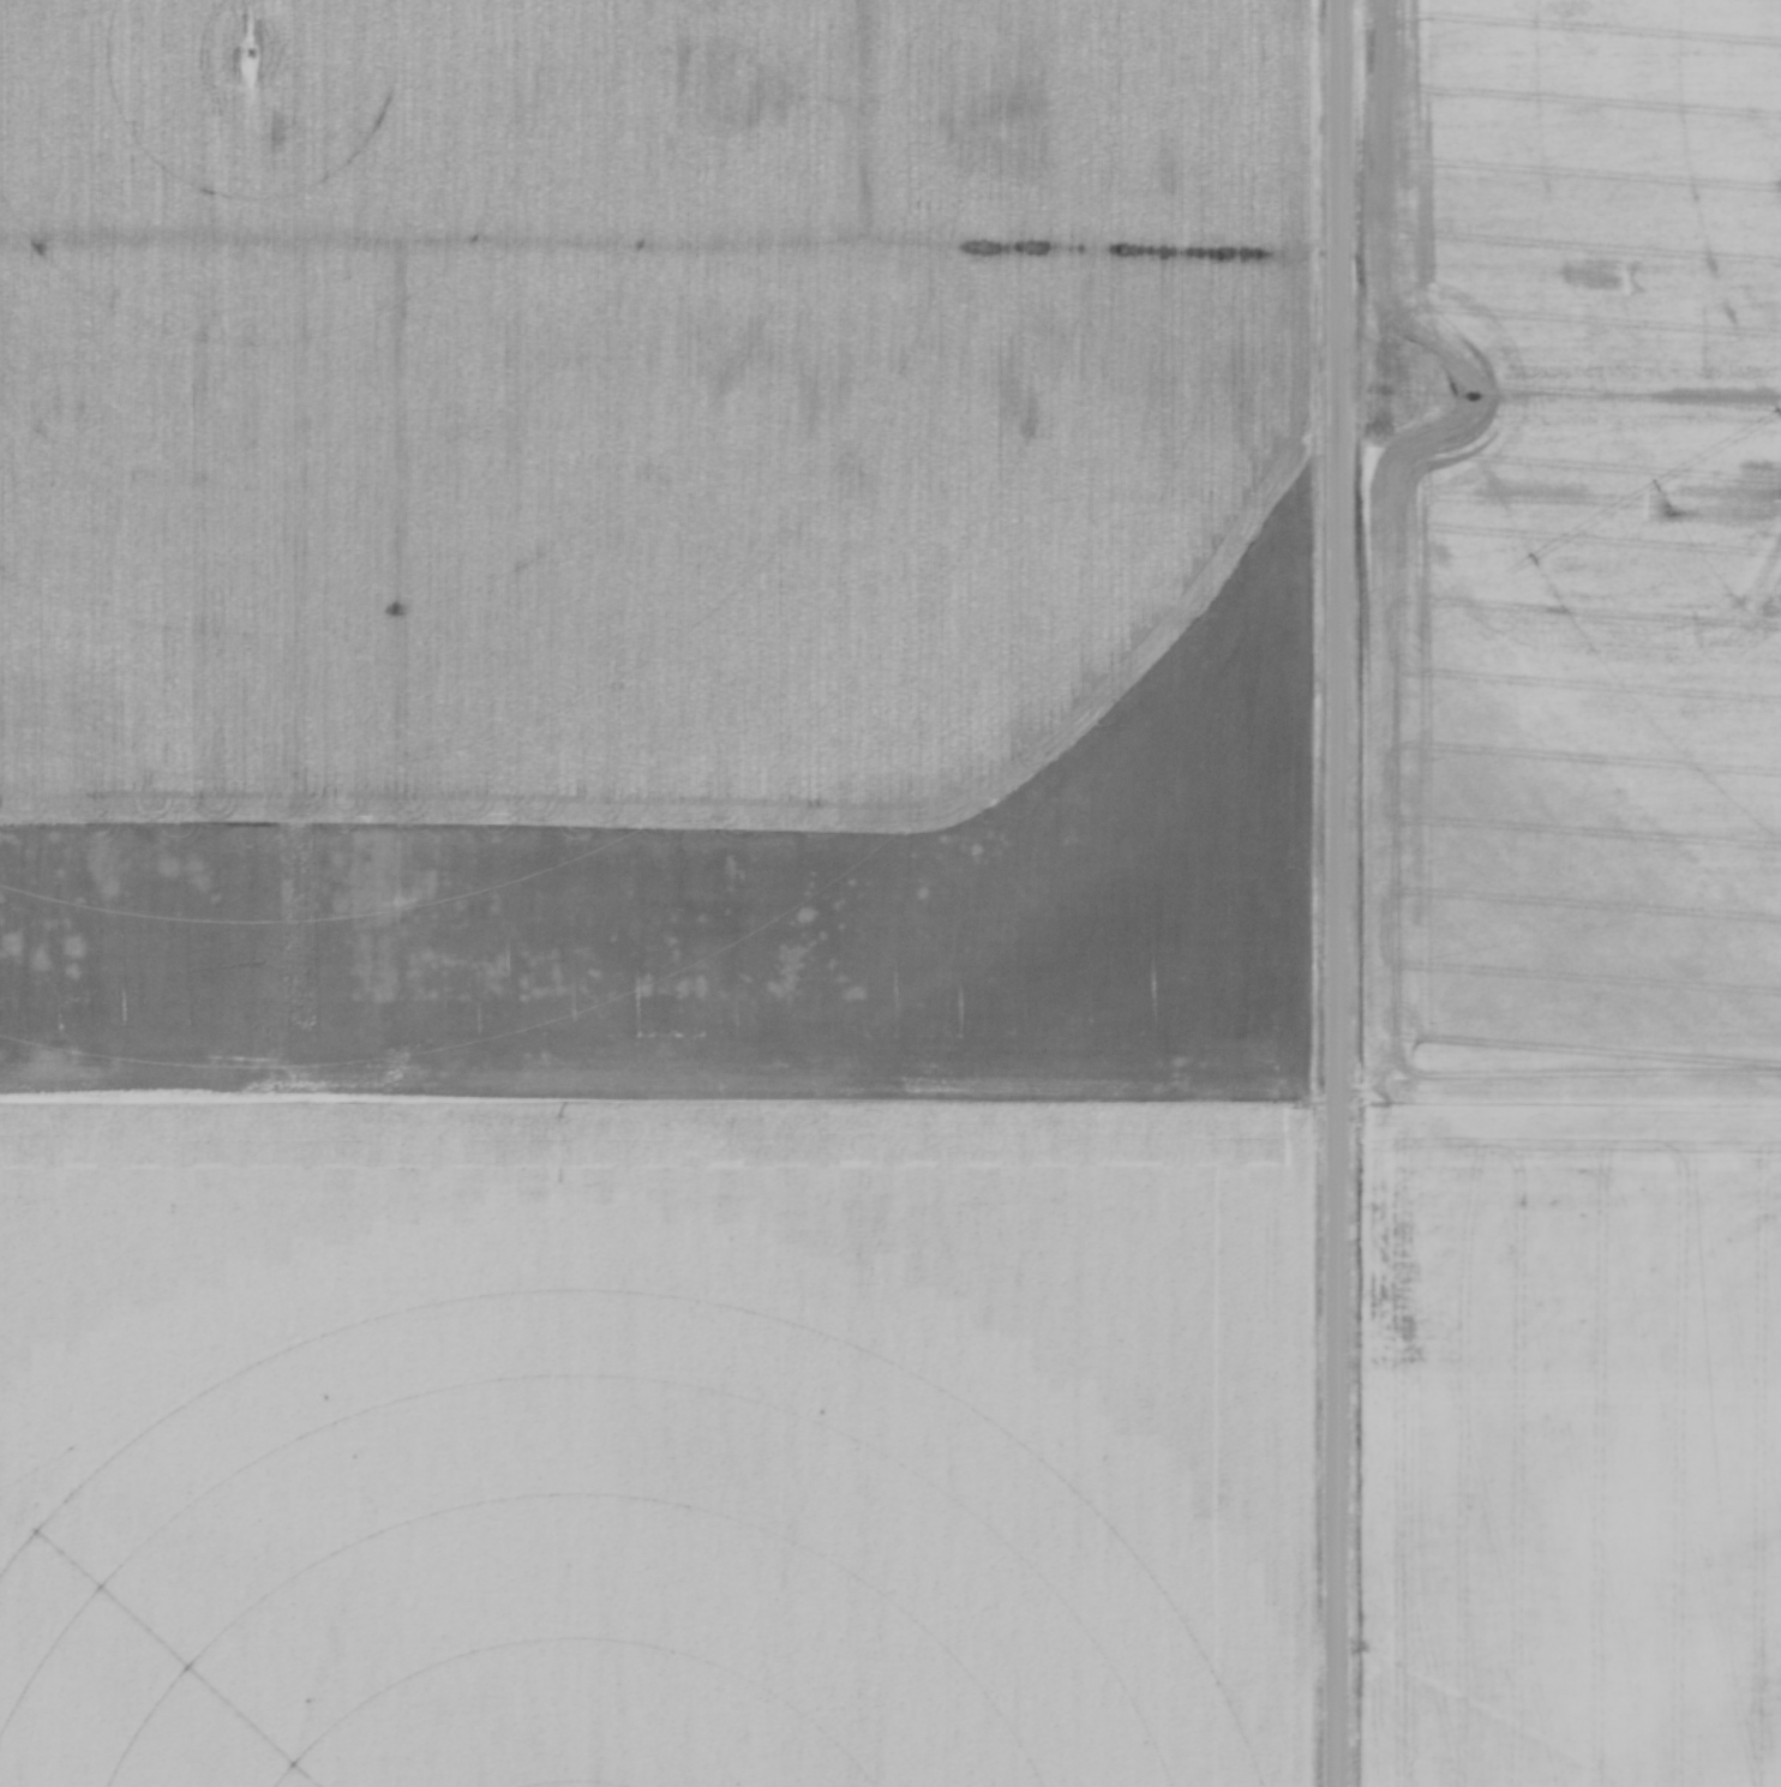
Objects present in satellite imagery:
road: (1338, 893)

